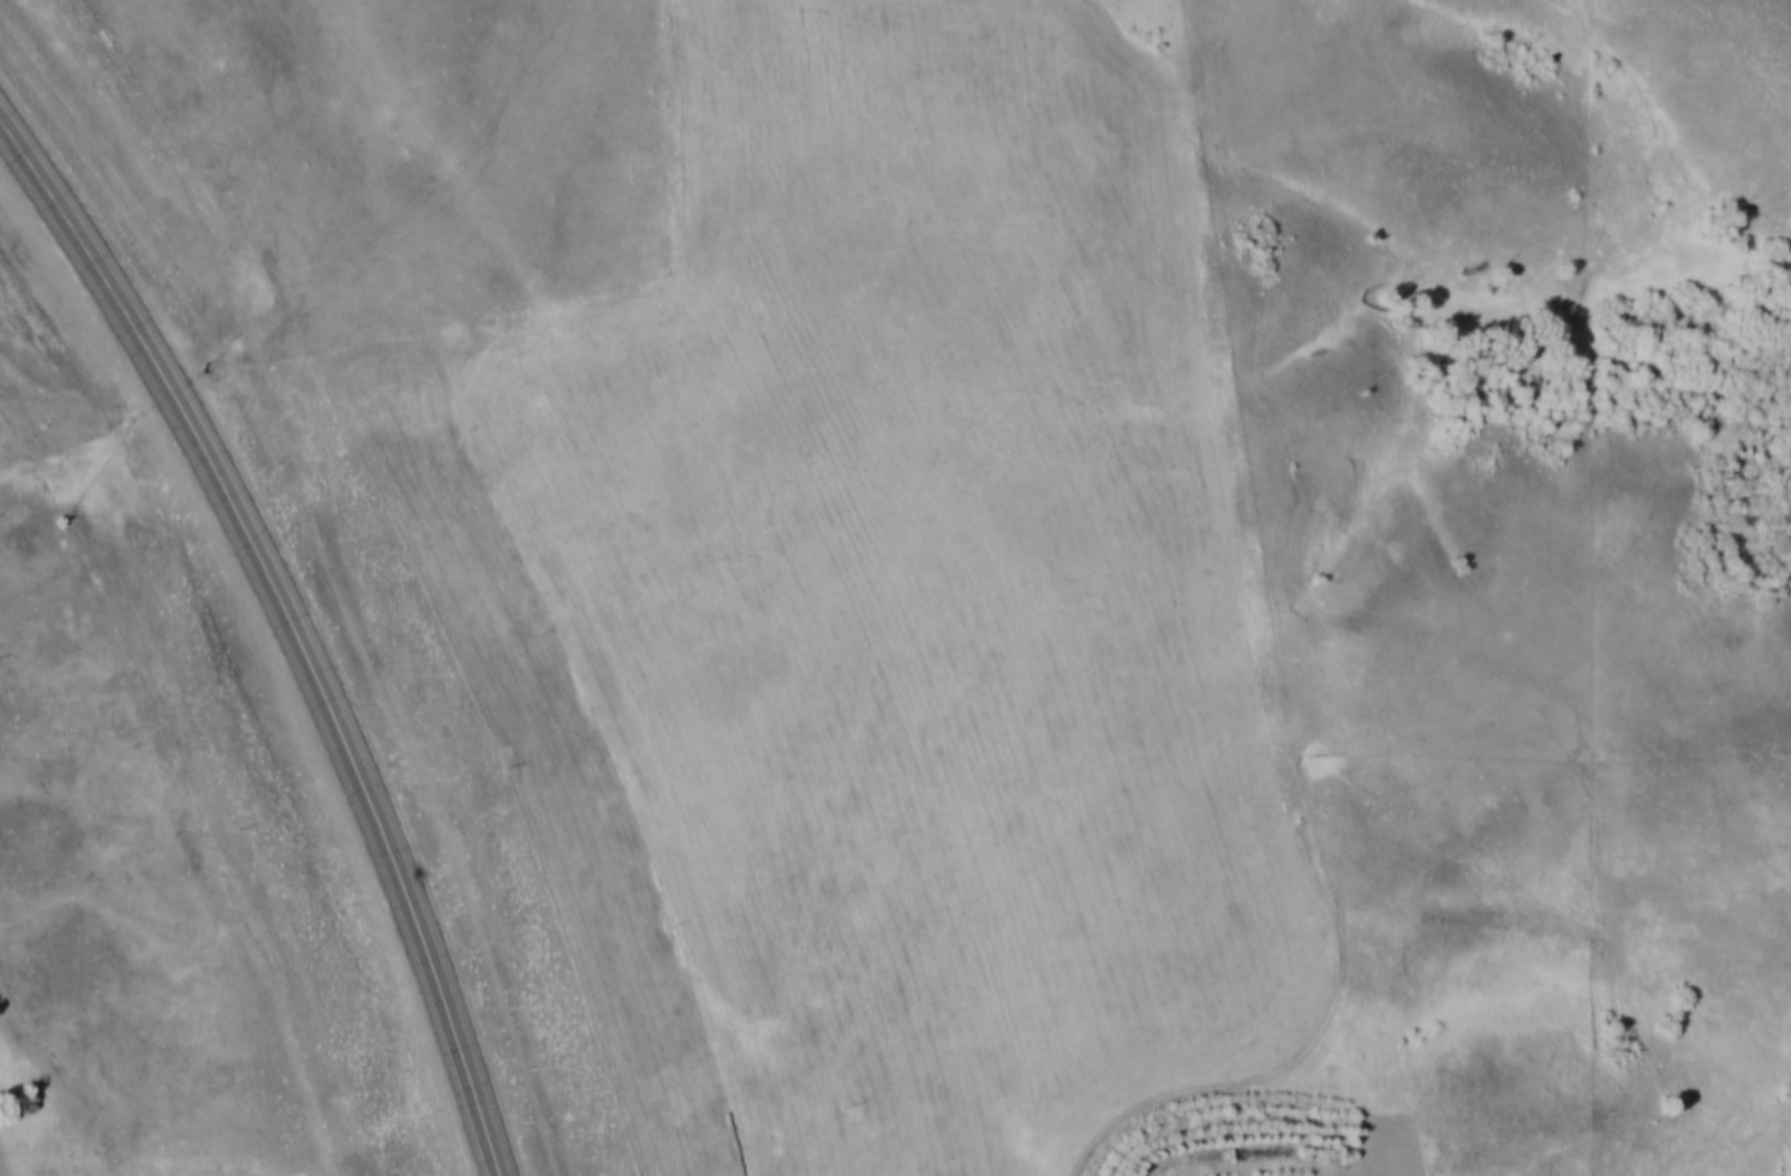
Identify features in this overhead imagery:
park: (1690, 371)
road: (295, 623)

